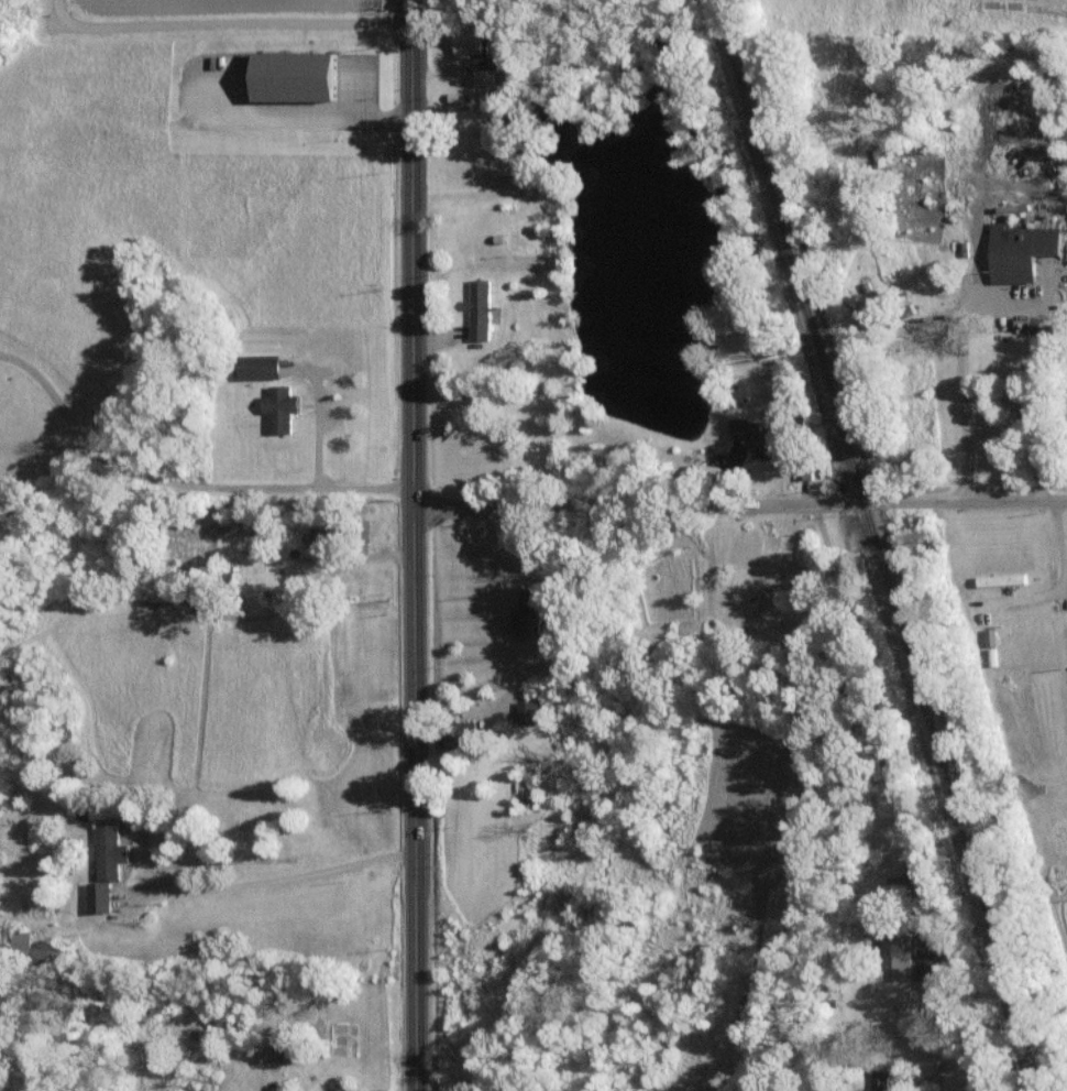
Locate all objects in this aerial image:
road: (226, 23)
building: (466, 42)
building: (291, 75)
building: (484, 77)
road: (315, 117)
building: (1019, 250)
building: (477, 309)
building: (257, 366)
road: (967, 392)
building: (278, 407)
road: (317, 427)
building: (754, 435)
road: (183, 481)
road: (741, 506)
building: (322, 533)
road: (416, 545)
railway: (879, 545)
building: (1001, 579)
building: (525, 611)
road: (515, 648)
building: (529, 712)
building: (454, 737)
building: (108, 851)
road: (277, 876)
building: (98, 896)
building: (21, 941)
building: (898, 954)
building: (928, 963)
building: (880, 1079)
building: (337, 1090)

